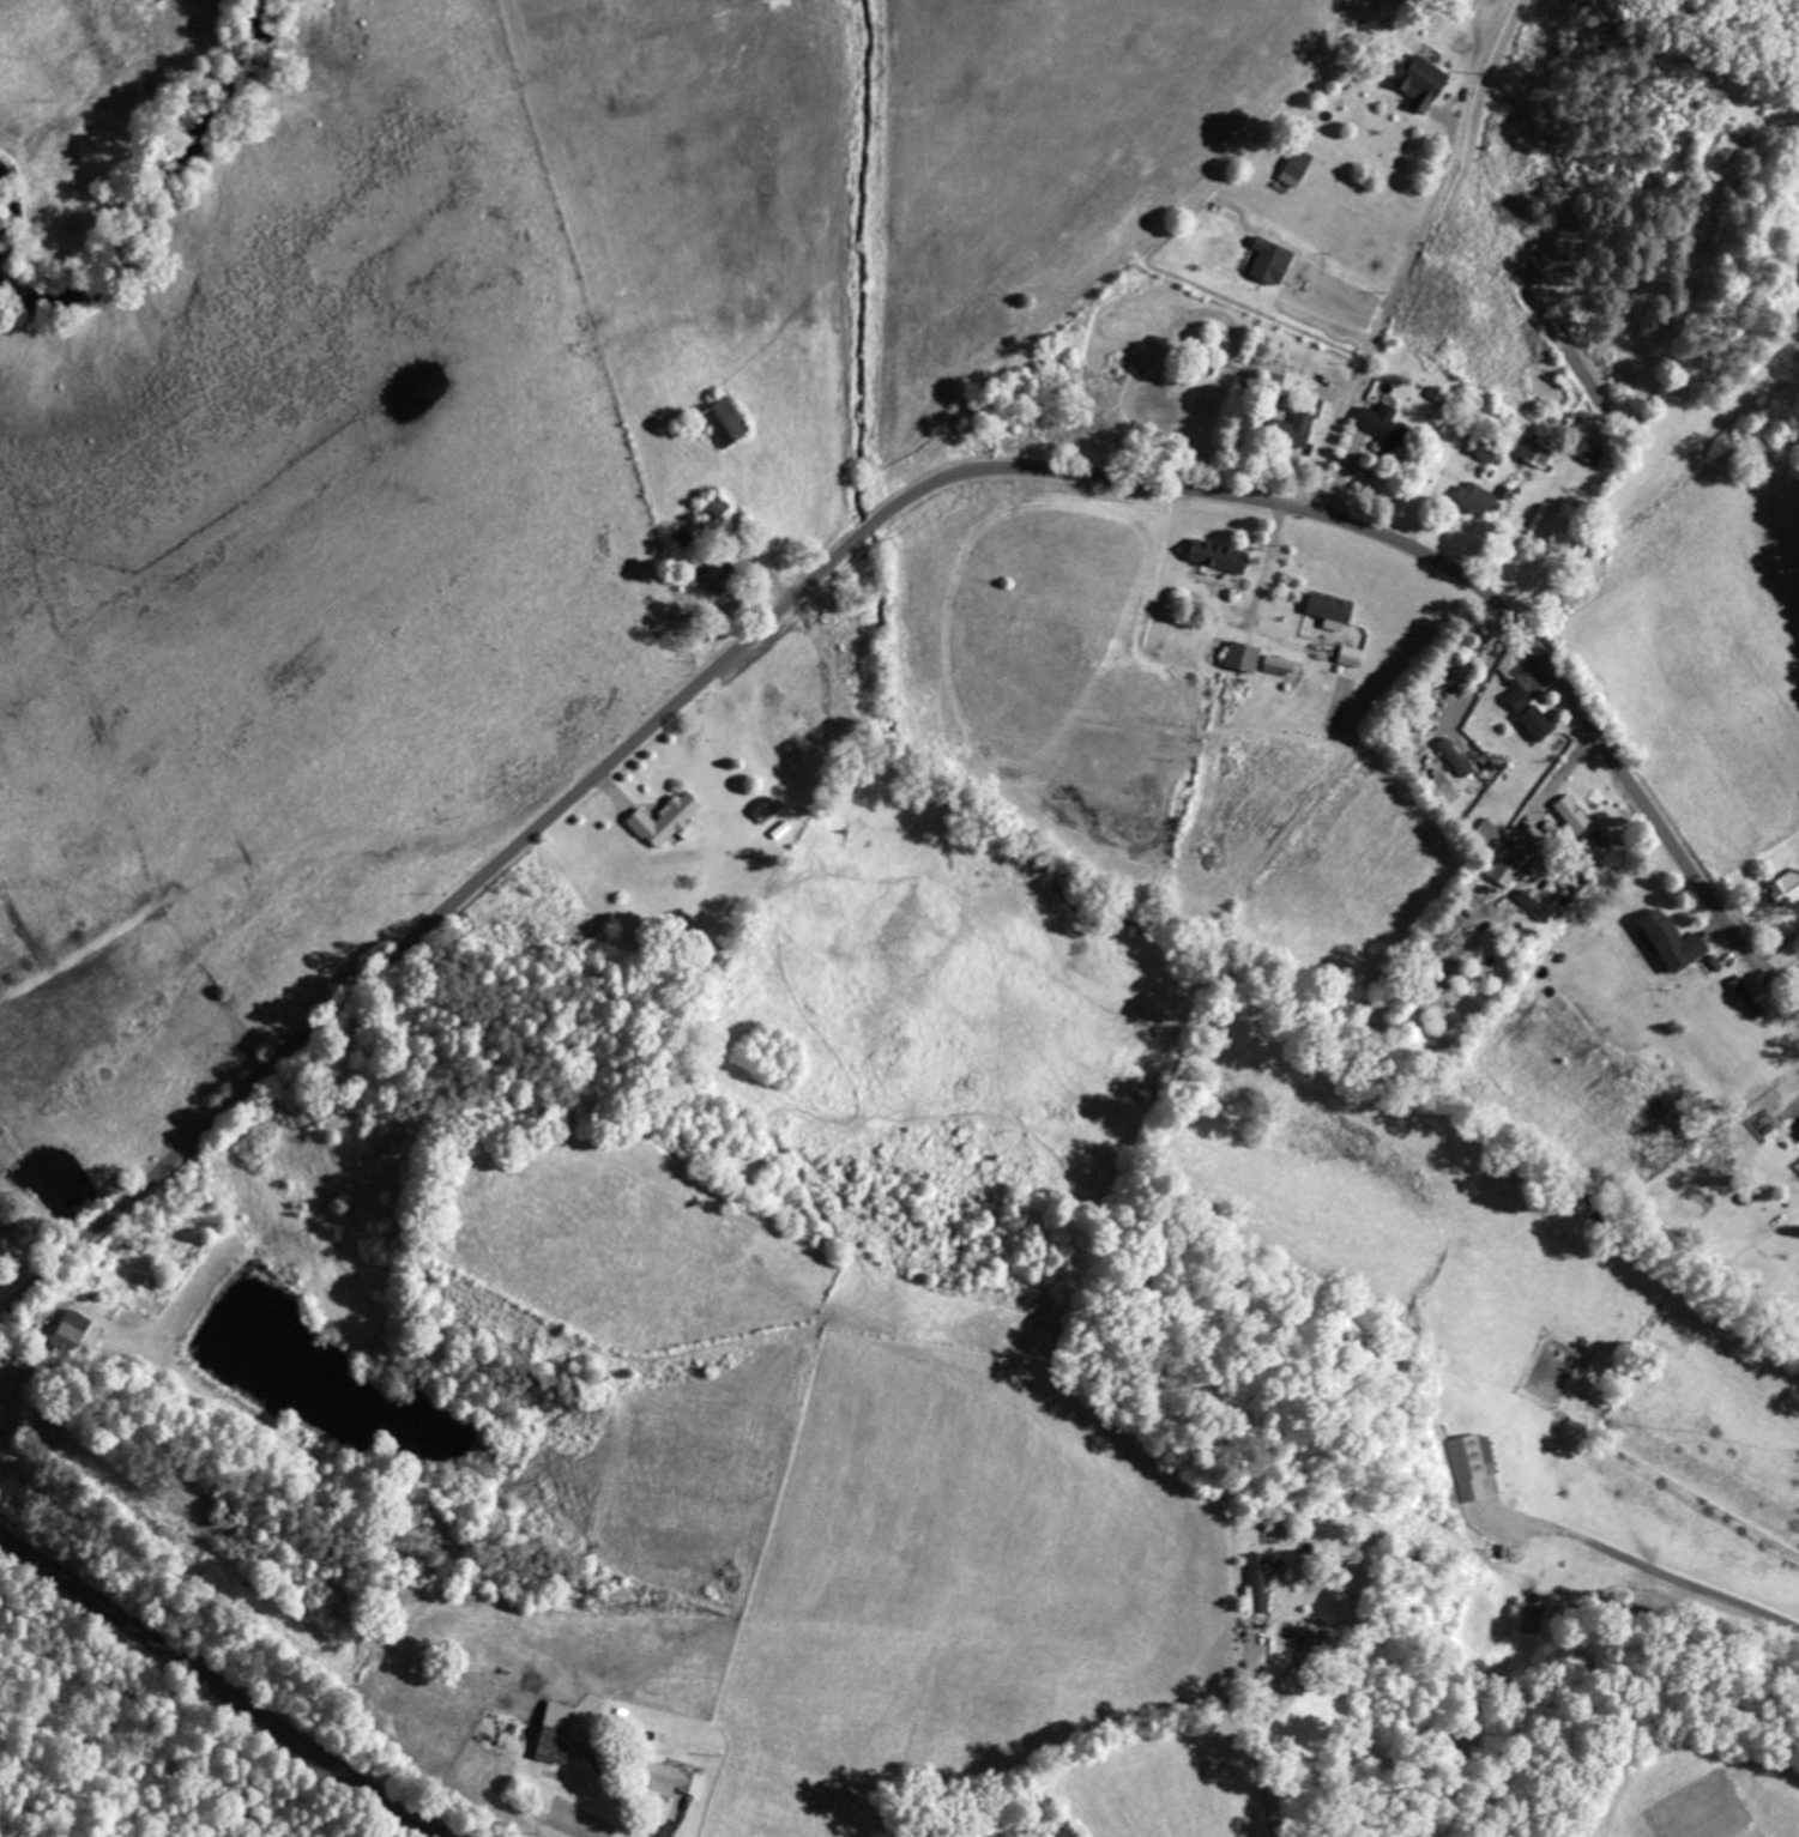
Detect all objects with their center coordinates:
building: (1420, 83)
building: (1296, 168)
building: (1269, 262)
building: (724, 422)
building: (1294, 425)
building: (1384, 428)
building: (1484, 452)
building: (1535, 453)
building: (1589, 453)
building: (1477, 498)
road: (874, 525)
building: (1218, 555)
building: (1217, 579)
building: (1329, 610)
building: (1242, 655)
building: (1279, 664)
building: (1528, 712)
building: (1454, 756)
building: (1438, 774)
building: (762, 809)
building: (1571, 812)
building: (665, 820)
building: (1487, 832)
building: (1505, 869)
building: (1785, 887)
building: (1445, 932)
building: (1671, 941)
building: (68, 1331)
building: (0, 1430)
building: (1471, 1464)
building: (1255, 1583)
road: (222, 1687)
building: (554, 1733)
building: (669, 1779)
road: (670, 1821)

